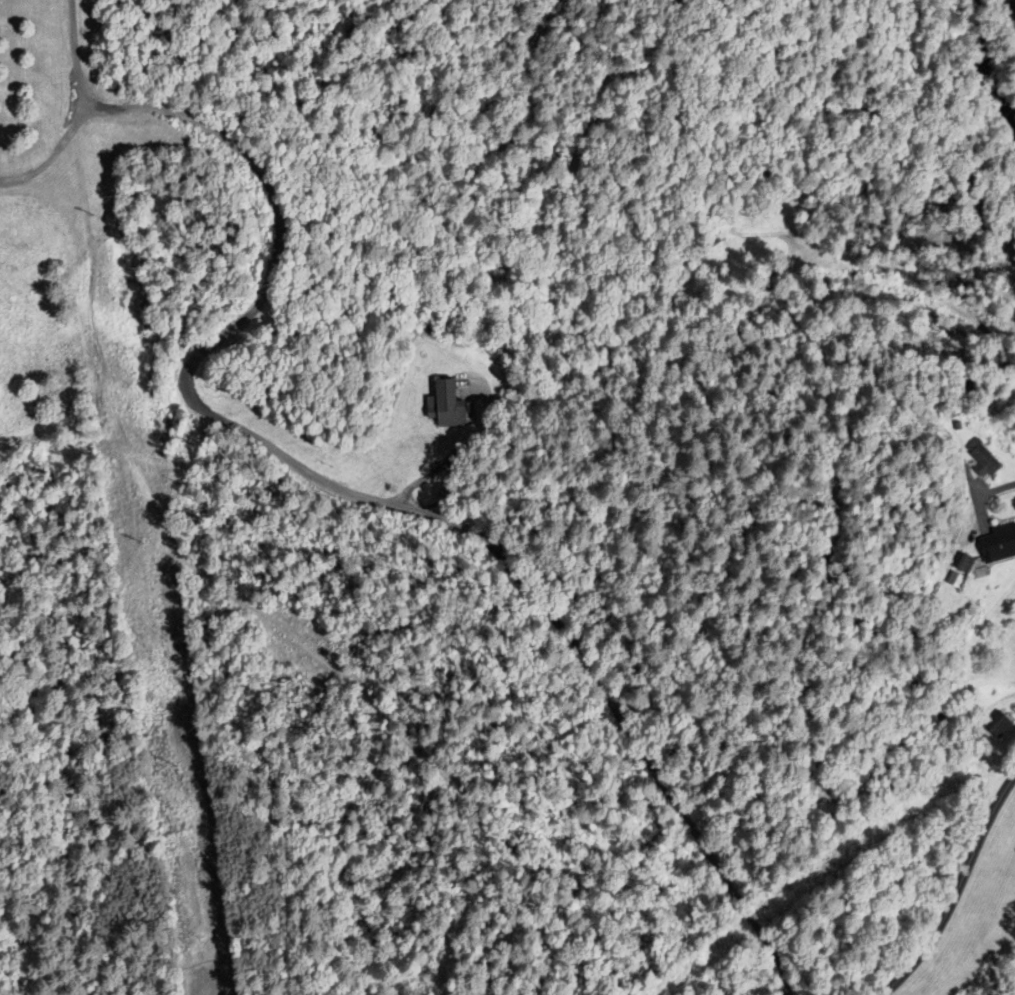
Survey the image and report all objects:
road: (73, 56)
building: (445, 406)
building: (984, 461)
road: (311, 475)
road: (983, 496)
building: (998, 544)
building: (966, 563)
building: (958, 578)
building: (1001, 723)
road: (956, 890)

